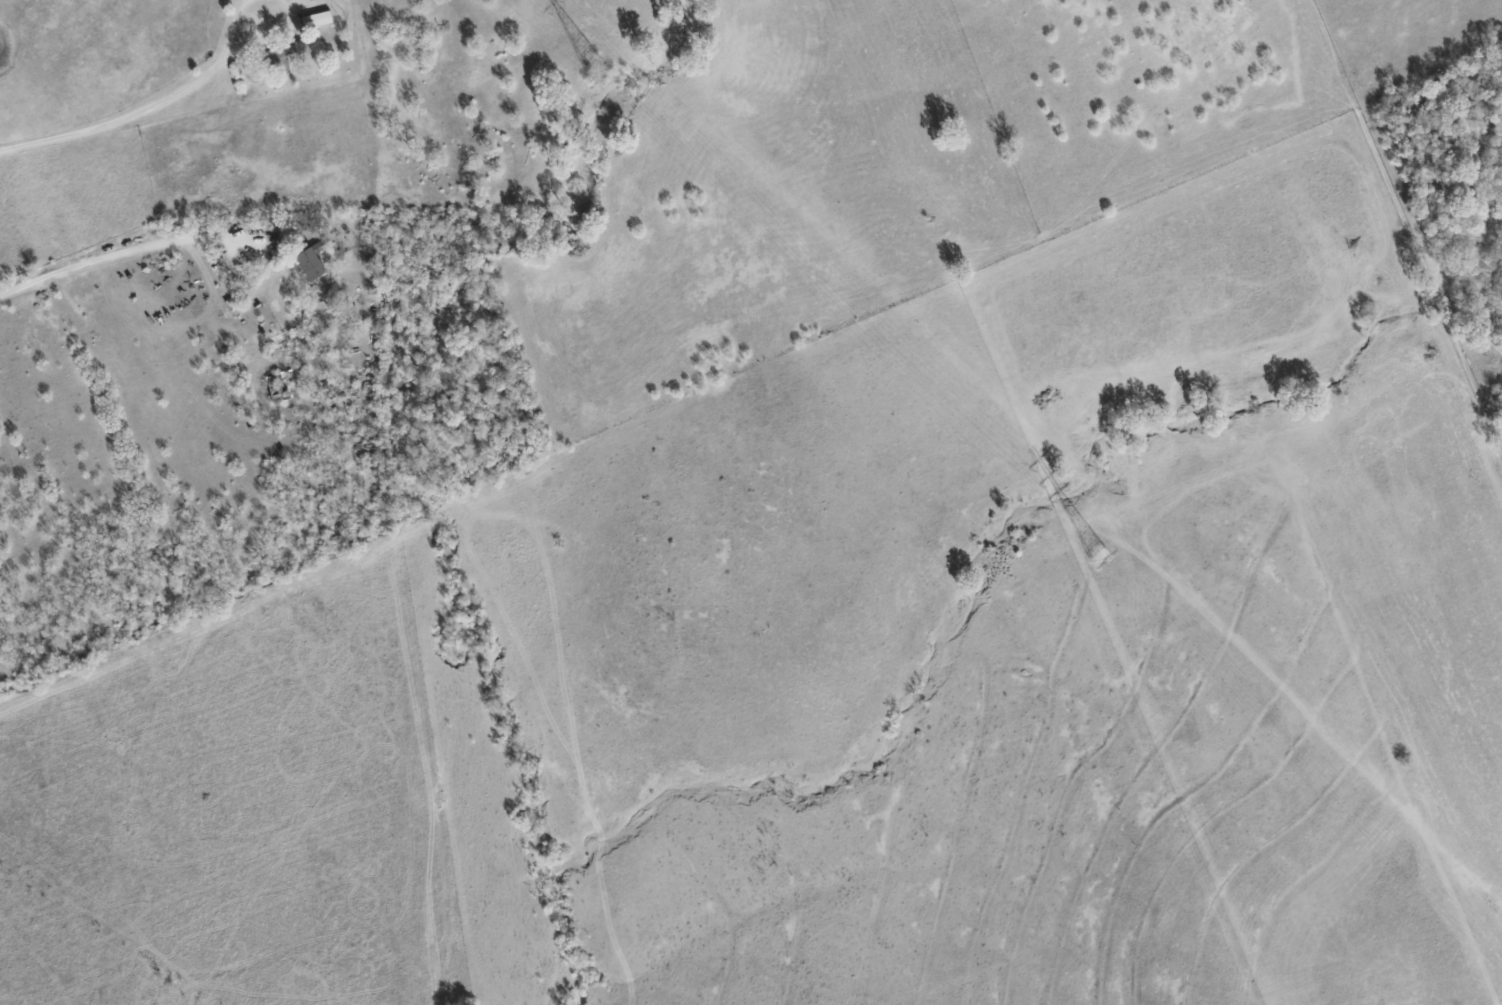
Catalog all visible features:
power tower: (596, 72)
road: (146, 106)
road: (112, 254)
building: (312, 265)
power tower: (1101, 559)

